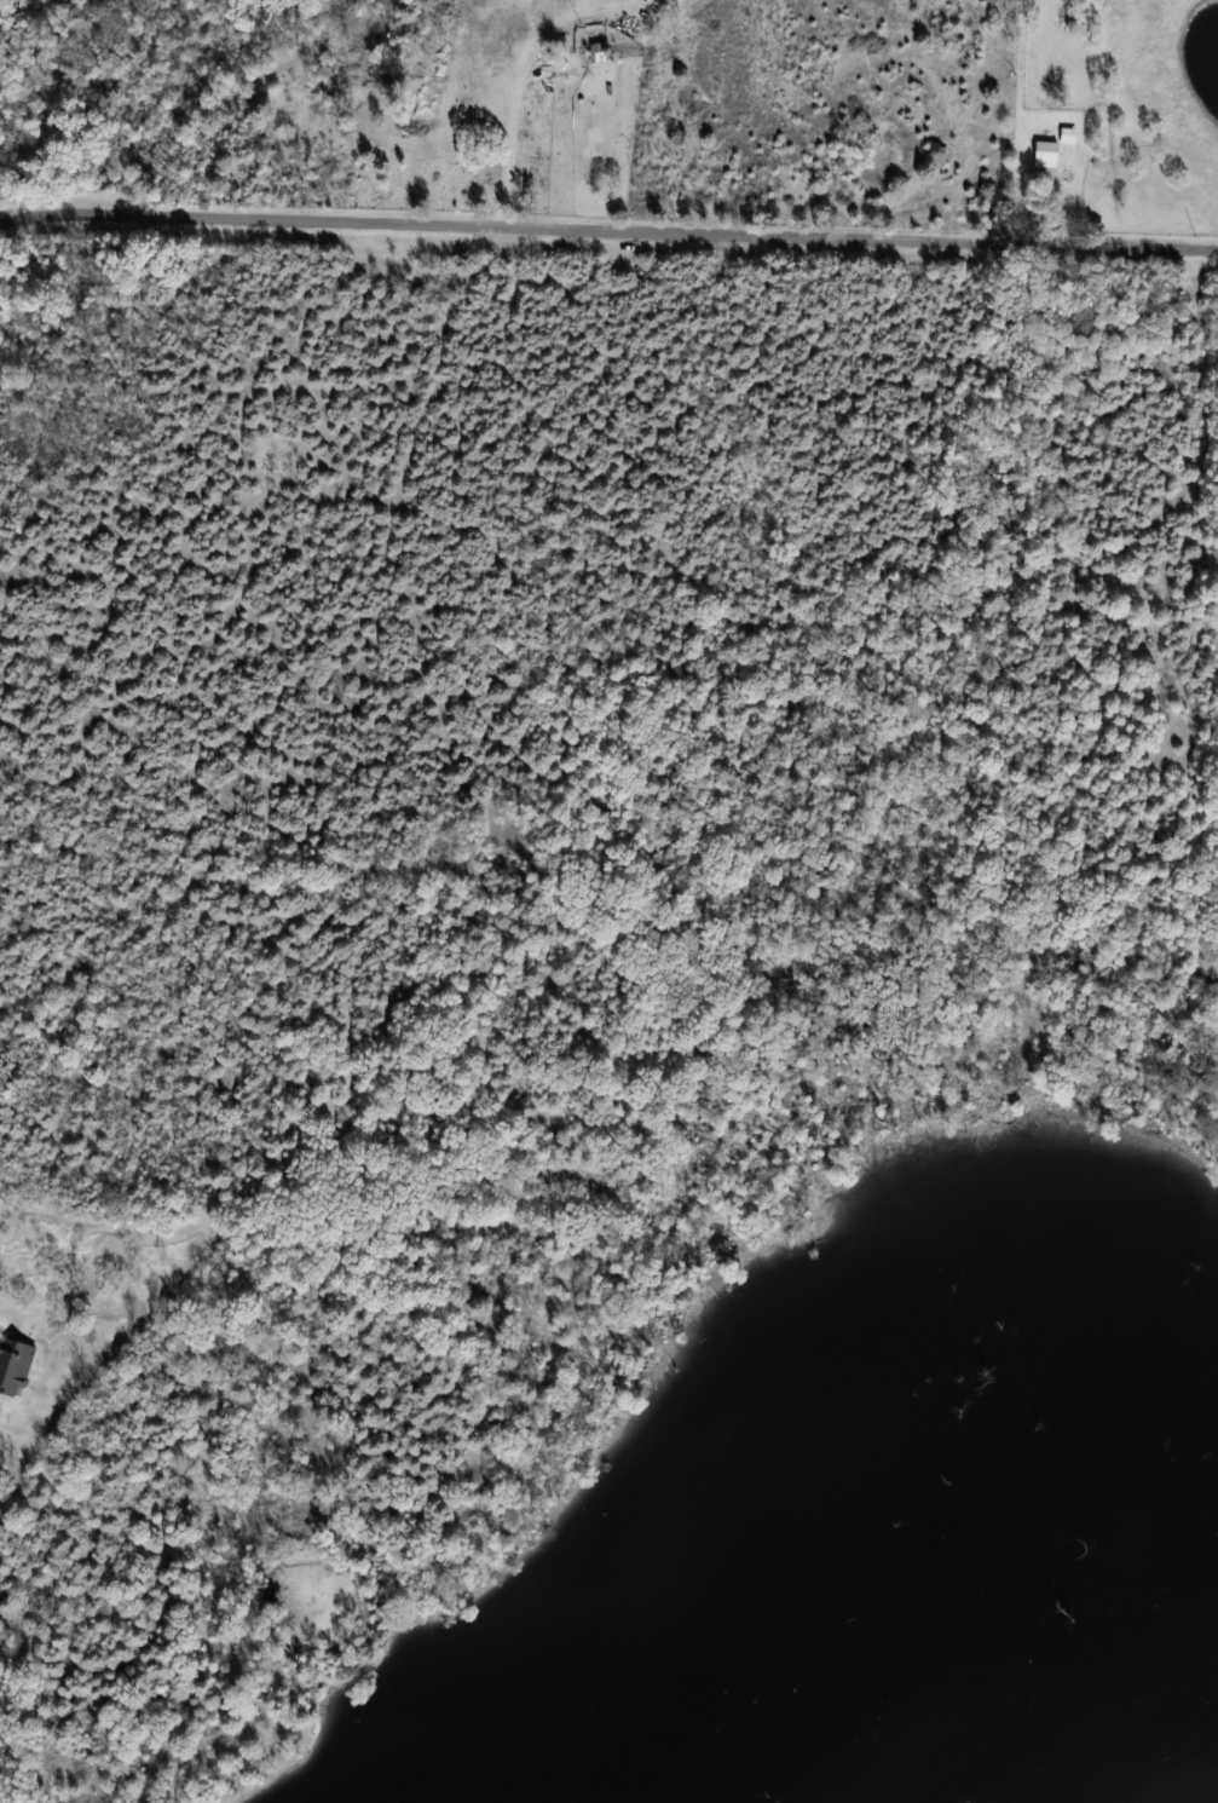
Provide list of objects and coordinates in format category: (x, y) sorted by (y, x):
road: (518, 109)
building: (1047, 154)
road: (607, 230)
building: (16, 1365)

